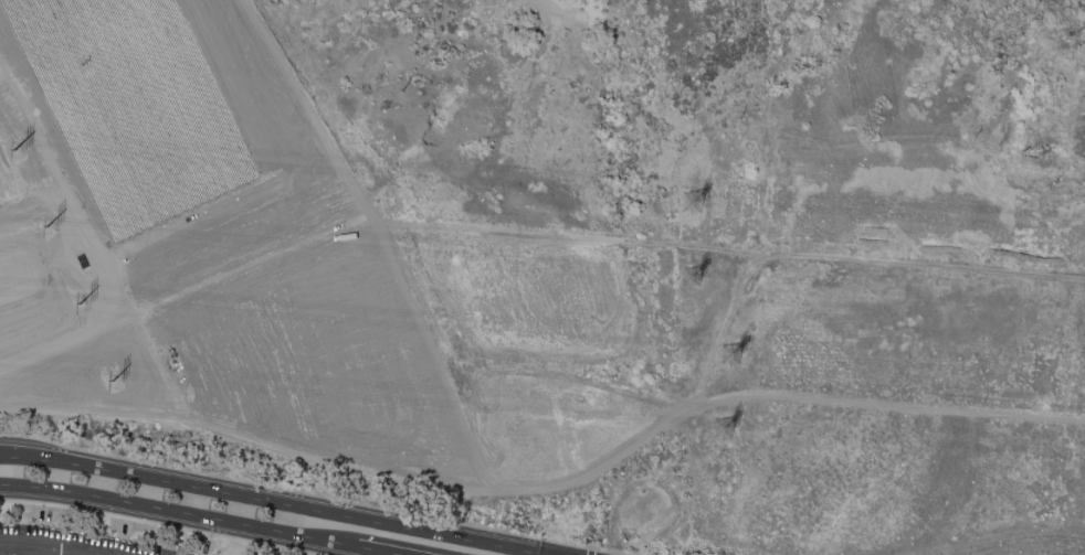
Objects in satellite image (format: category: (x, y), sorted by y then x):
crop: (131, 107)
power tower: (22, 153)
crop: (2, 196)
power tower: (694, 209)
power tower: (53, 231)
road: (832, 259)
power tower: (699, 282)
road: (22, 289)
power tower: (84, 308)
power tower: (725, 361)
power tower: (116, 383)
power tower: (729, 431)
road: (549, 487)
road: (271, 502)
road: (178, 513)
road: (157, 524)
road: (34, 549)
road: (14, 552)
road: (373, 552)
road: (590, 552)
road: (607, 552)
road: (36, 553)

